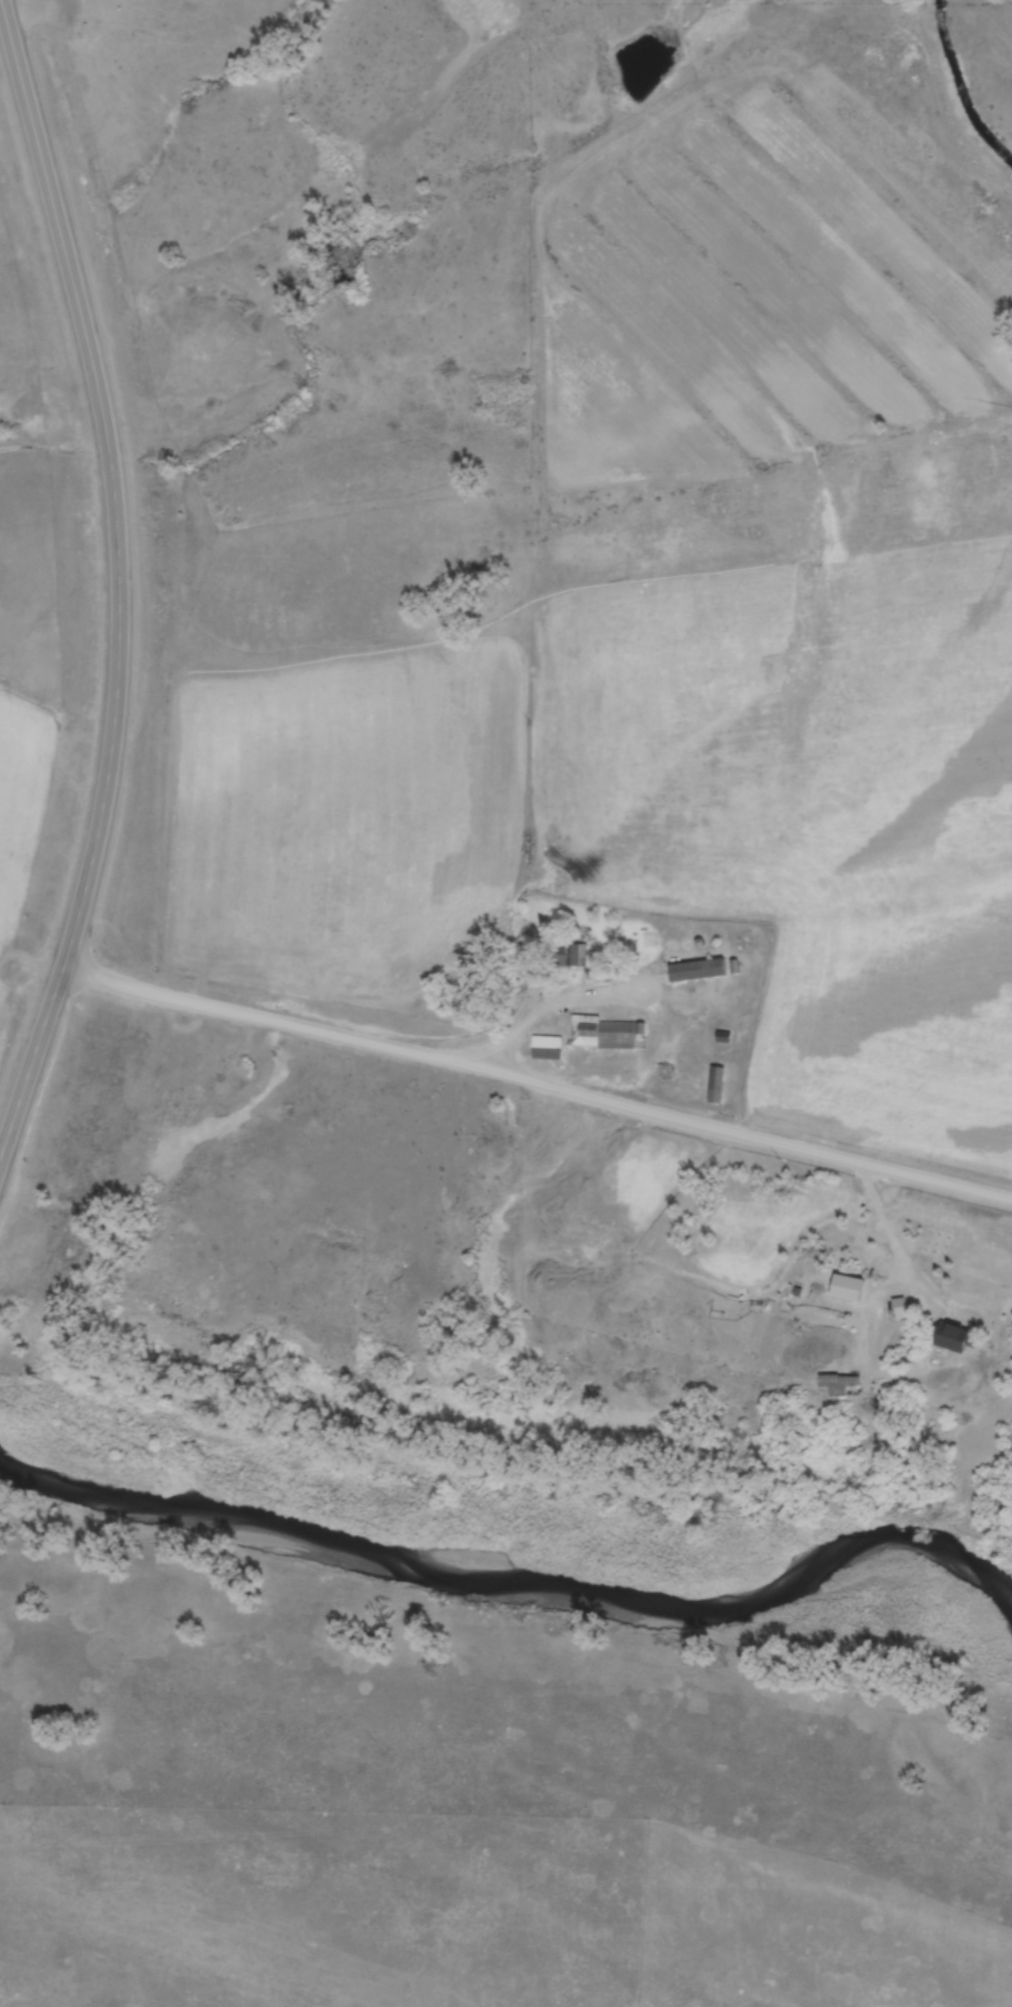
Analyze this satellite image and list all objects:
road: (129, 591)
building: (573, 956)
building: (698, 971)
building: (604, 1034)
building: (548, 1048)
road: (542, 1083)
building: (718, 1085)
building: (954, 1338)
building: (839, 1385)
river: (521, 1581)

